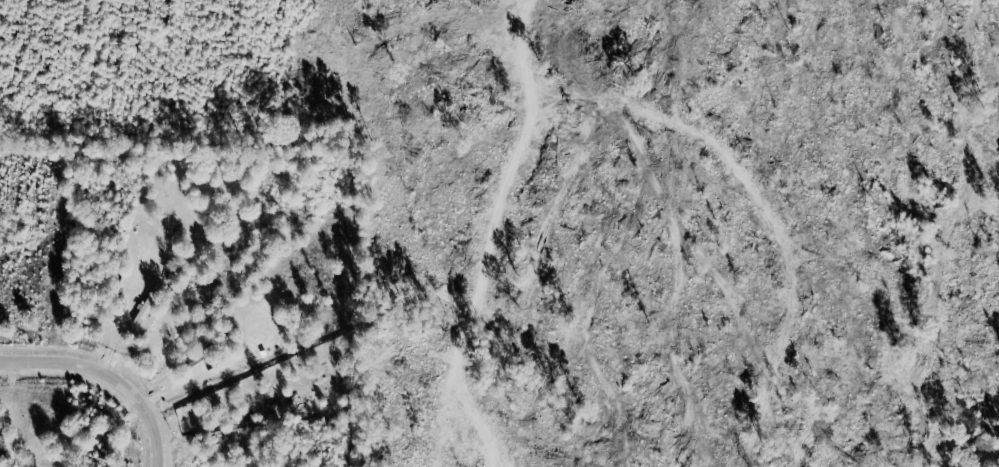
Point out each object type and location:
building: (150, 303)
road: (110, 375)
building: (287, 403)

